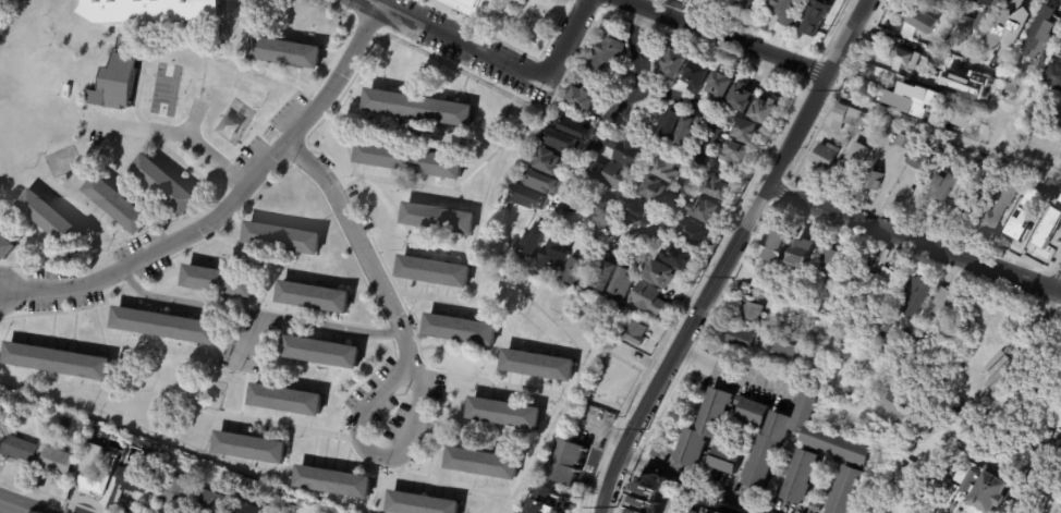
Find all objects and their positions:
building: (729, 0)
building: (939, 2)
building: (991, 3)
park: (408, 4)
building: (751, 5)
building: (1023, 7)
building: (474, 8)
building: (147, 10)
building: (789, 10)
building: (818, 17)
building: (924, 20)
building: (973, 26)
building: (1039, 33)
road: (723, 36)
road: (451, 40)
road: (564, 40)
building: (1044, 48)
building: (288, 51)
building: (608, 52)
building: (907, 58)
building: (939, 61)
building: (962, 61)
building: (675, 63)
road: (273, 73)
building: (1052, 74)
building: (697, 75)
building: (934, 80)
building: (117, 83)
building: (721, 86)
building: (1013, 88)
building: (1036, 88)
power tower: (839, 89)
park: (166, 90)
building: (954, 95)
road: (668, 96)
building: (744, 96)
building: (1024, 96)
building: (585, 97)
building: (920, 102)
building: (1005, 103)
building: (420, 107)
building: (995, 109)
building: (766, 110)
building: (974, 110)
building: (850, 118)
building: (959, 119)
road: (190, 123)
building: (1059, 123)
building: (576, 125)
building: (670, 125)
building: (897, 127)
building: (744, 131)
road: (175, 133)
road: (939, 133)
building: (1027, 133)
building: (688, 135)
building: (562, 142)
building: (906, 142)
building: (845, 144)
building: (627, 150)
building: (737, 154)
building: (829, 155)
building: (859, 156)
building: (412, 160)
building: (923, 161)
building: (554, 162)
building: (1060, 163)
building: (671, 169)
road: (195, 173)
building: (612, 175)
building: (875, 180)
building: (950, 180)
building: (544, 183)
building: (166, 184)
road: (405, 185)
building: (720, 188)
building: (658, 190)
building: (1011, 191)
building: (529, 198)
building: (1044, 203)
road: (224, 204)
building: (119, 205)
building: (959, 208)
building: (707, 210)
building: (641, 212)
building: (1024, 212)
building: (769, 215)
building: (609, 216)
building: (436, 217)
road: (565, 218)
building: (50, 219)
road: (94, 220)
building: (991, 223)
building: (1050, 224)
building: (1030, 229)
building: (697, 233)
building: (284, 239)
road: (912, 239)
building: (534, 242)
road: (356, 244)
building: (776, 246)
building: (5, 247)
building: (803, 251)
road: (729, 254)
building: (553, 255)
building: (681, 256)
building: (830, 261)
building: (873, 261)
building: (581, 267)
building: (437, 272)
building: (661, 273)
building: (606, 278)
power tower: (734, 278)
building: (765, 280)
building: (221, 281)
building: (623, 283)
road: (1058, 283)
building: (889, 284)
road: (417, 295)
building: (917, 295)
building: (316, 297)
building: (650, 300)
building: (800, 302)
building: (946, 302)
road: (70, 309)
building: (753, 310)
road: (252, 312)
building: (1001, 322)
building: (168, 327)
building: (463, 330)
building: (788, 330)
building: (637, 333)
building: (741, 335)
road: (243, 338)
building: (926, 344)
building: (782, 351)
building: (324, 353)
building: (59, 362)
building: (540, 365)
road: (732, 370)
building: (997, 370)
building: (898, 375)
road: (577, 376)
building: (288, 401)
building: (893, 402)
road: (600, 404)
building: (0, 407)
building: (507, 414)
building: (68, 422)
building: (707, 426)
power tower: (647, 430)
building: (102, 432)
road: (332, 433)
building: (830, 438)
road: (359, 447)
building: (252, 449)
building: (19, 450)
building: (172, 456)
building: (727, 459)
building: (570, 462)
building: (57, 463)
building: (485, 464)
road: (905, 468)
building: (803, 477)
building: (134, 479)
building: (975, 480)
building: (93, 483)
building: (334, 483)
road: (697, 485)
building: (849, 489)
building: (170, 491)
building: (996, 491)
building: (646, 499)
building: (210, 502)
building: (297, 502)
building: (422, 504)
road: (19, 505)
building: (817, 505)
building: (554, 506)
power tower: (614, 508)
building: (247, 509)
building: (695, 510)

